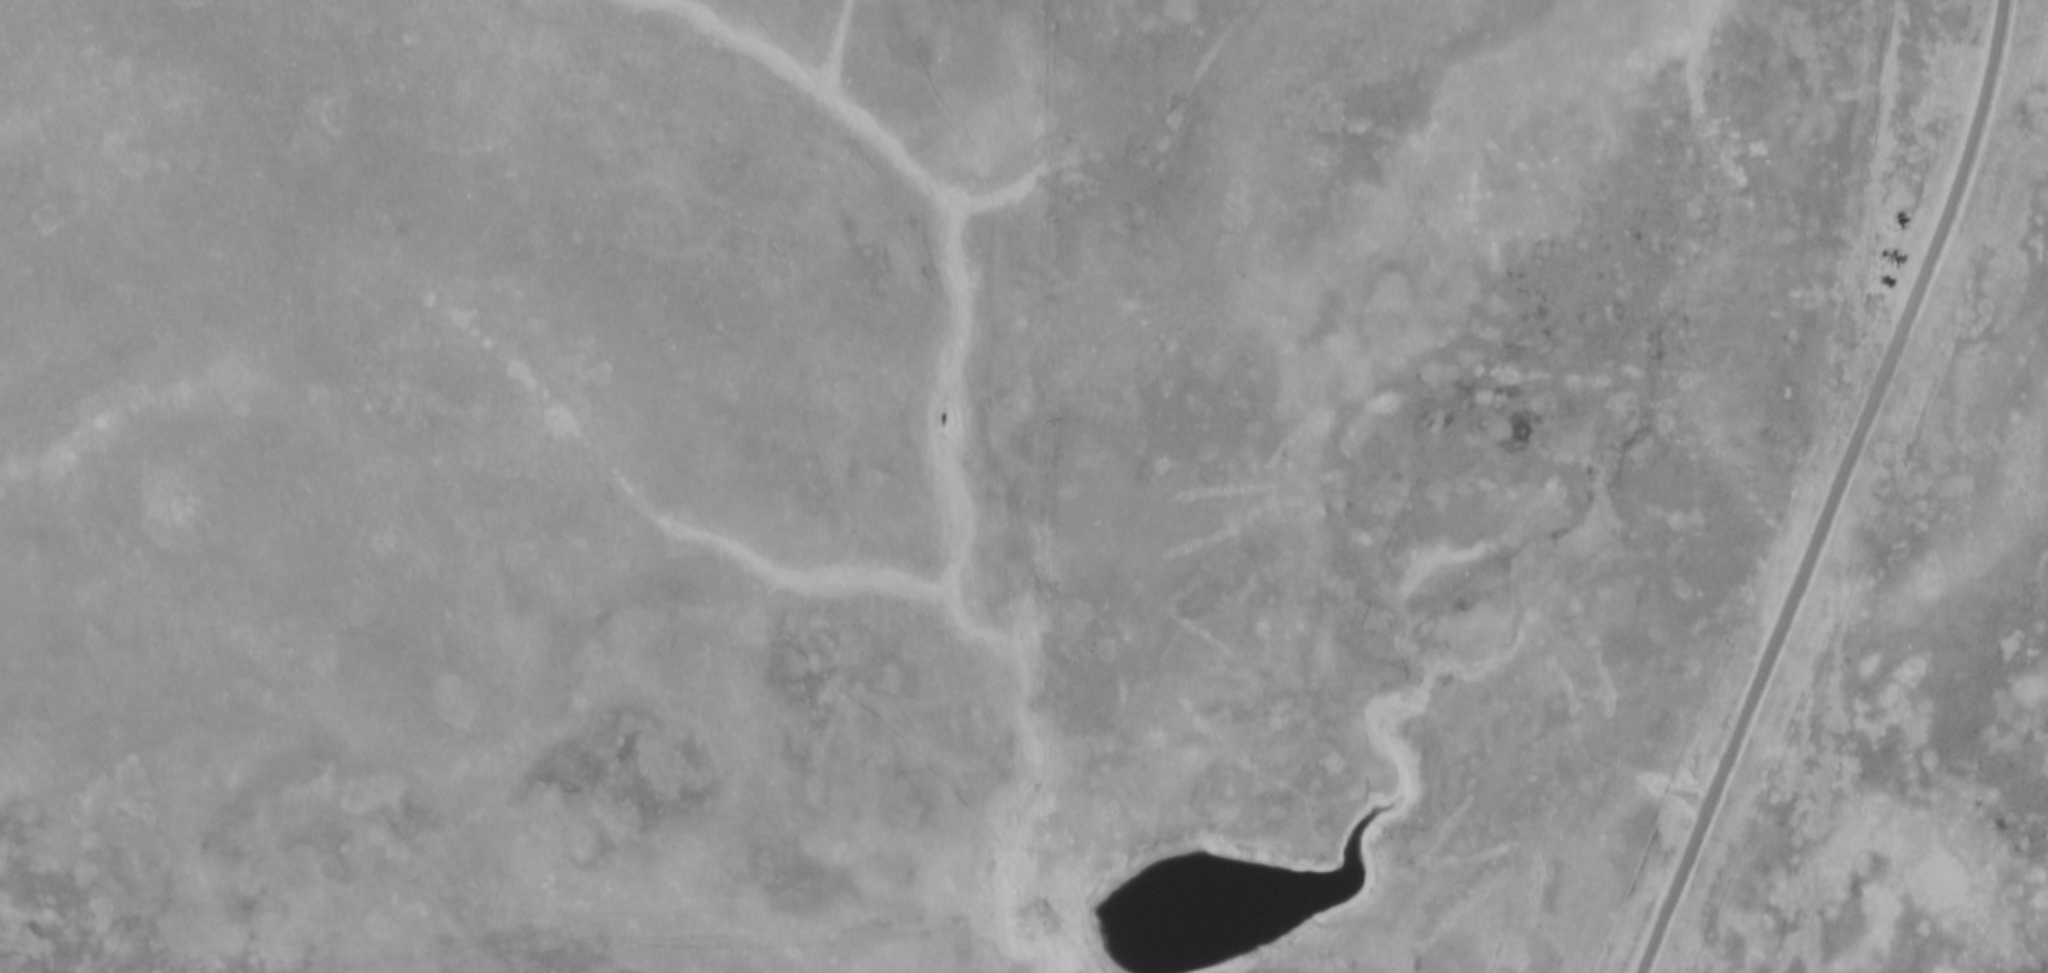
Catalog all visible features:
road: (1838, 490)

